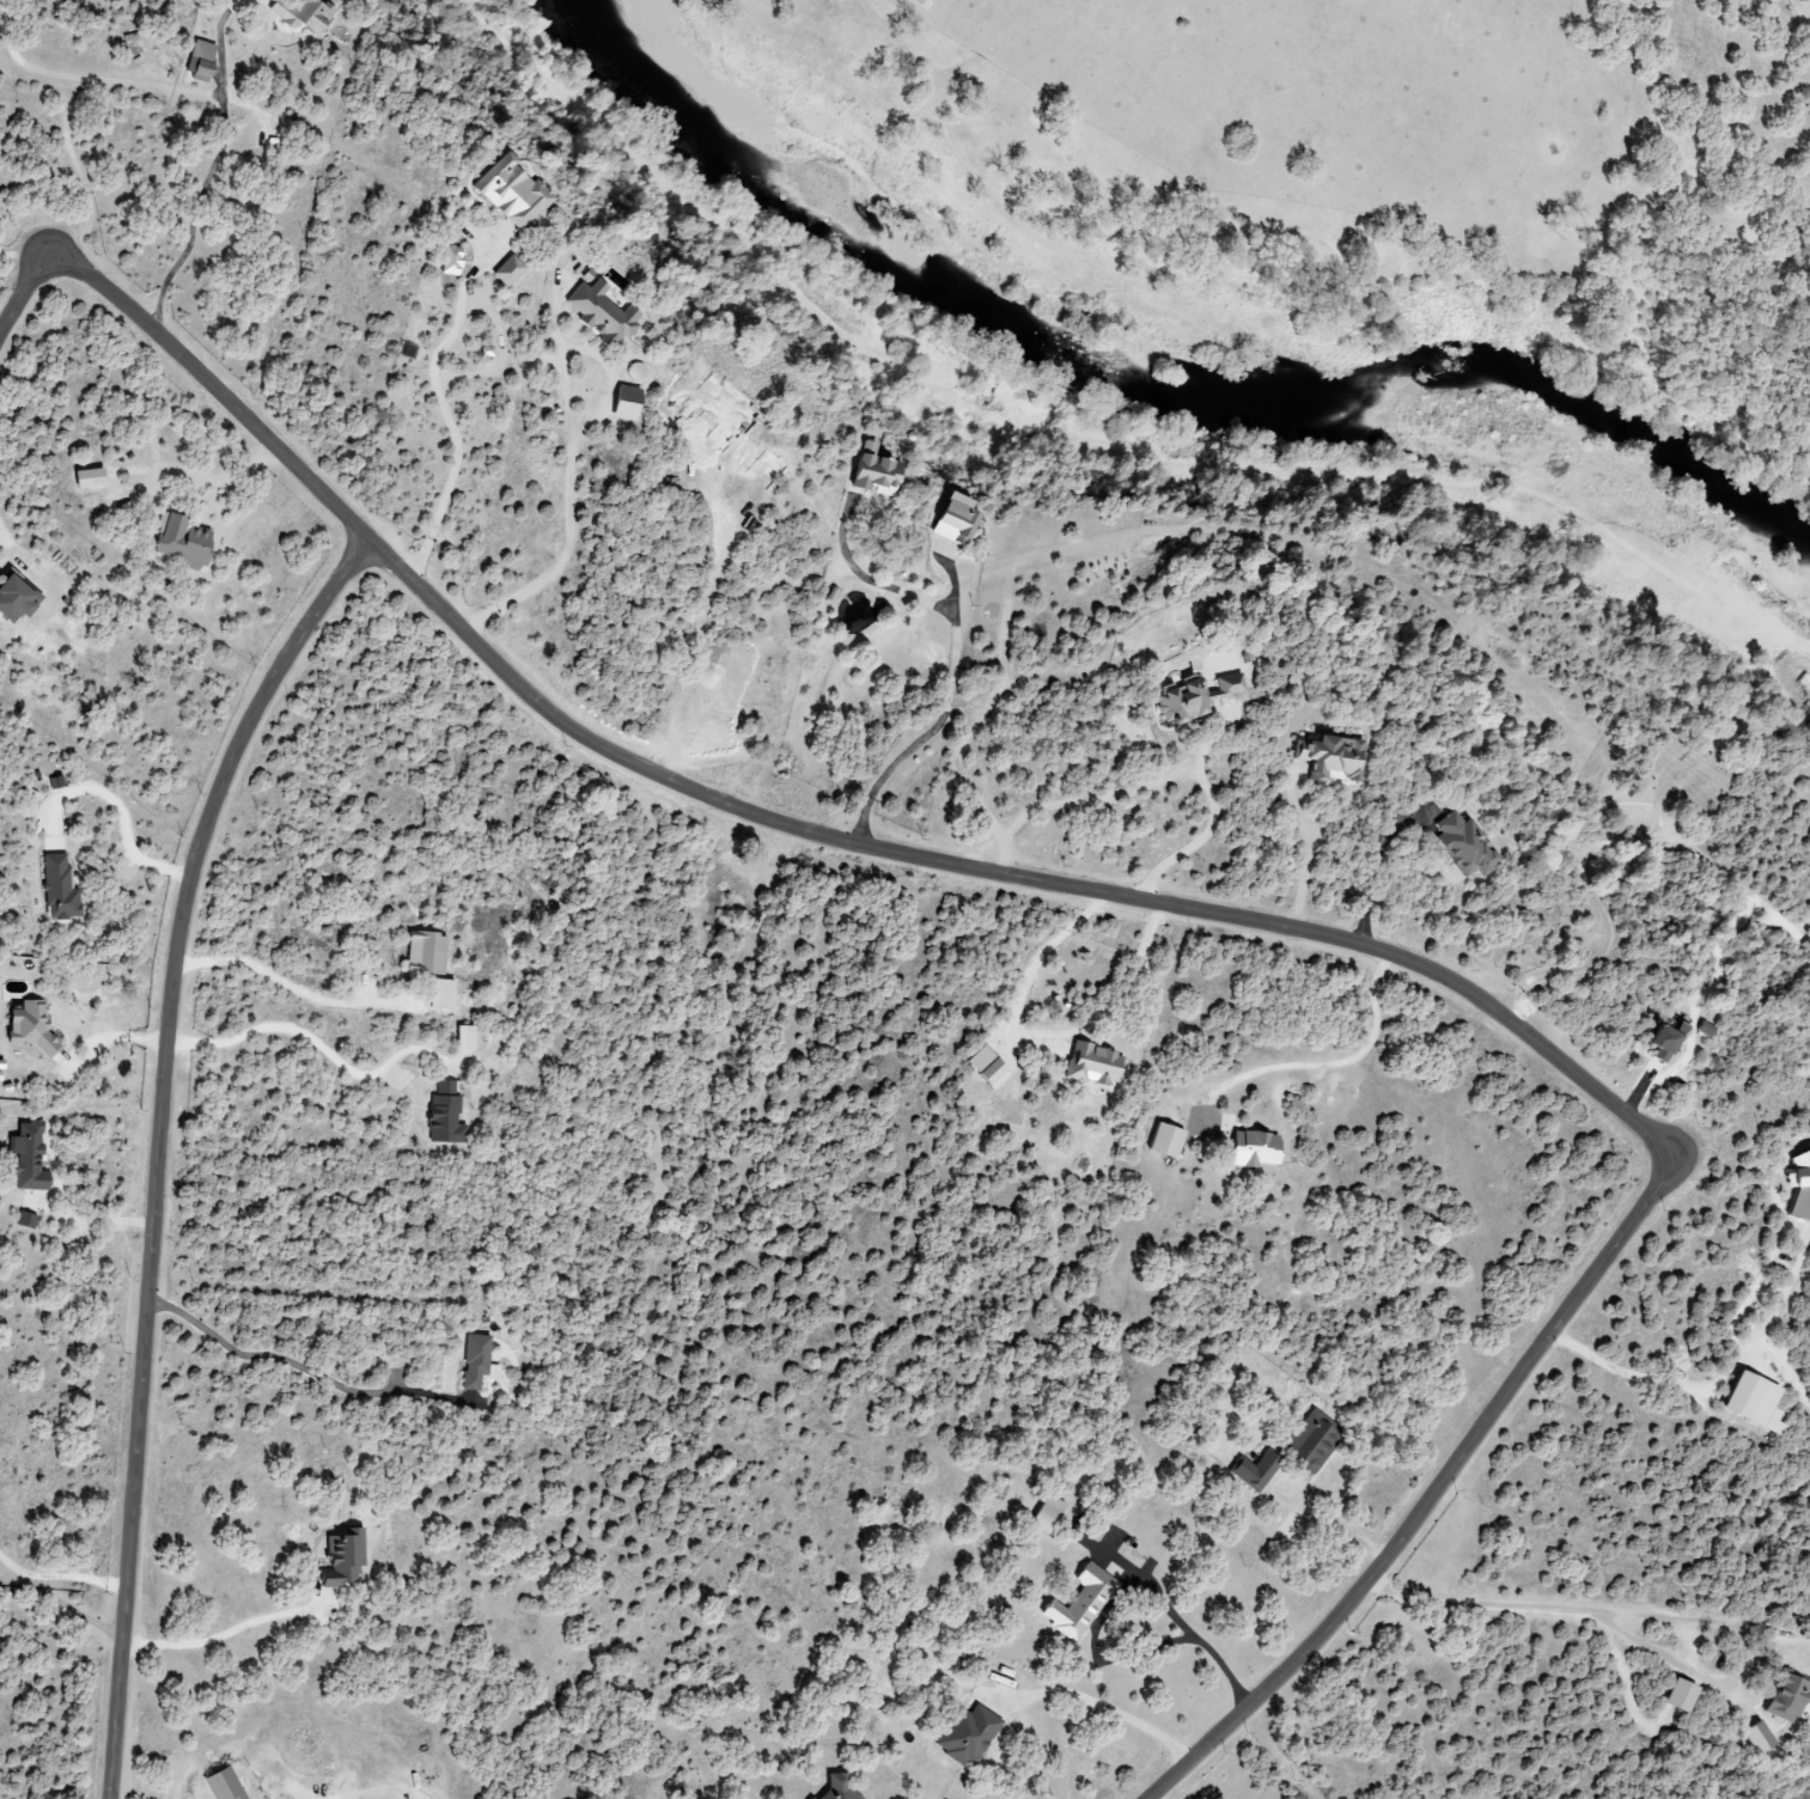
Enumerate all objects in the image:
building: (300, 13)
building: (197, 61)
building: (507, 193)
road: (196, 209)
building: (449, 260)
building: (505, 270)
building: (599, 315)
river: (1153, 386)
building: (623, 402)
road: (449, 409)
road: (573, 441)
building: (871, 471)
building: (84, 478)
building: (950, 519)
building: (177, 542)
building: (12, 597)
building: (1194, 695)
road: (943, 716)
road: (1201, 755)
building: (1330, 758)
road: (1148, 787)
road: (120, 809)
building: (1462, 844)
road: (1308, 859)
road: (1371, 870)
building: (57, 889)
road: (1154, 904)
building: (422, 953)
road: (297, 984)
building: (26, 1027)
road: (110, 1033)
road: (317, 1036)
building: (463, 1038)
building: (1662, 1042)
road: (1328, 1060)
building: (1090, 1066)
building: (985, 1068)
building: (0, 1069)
building: (444, 1115)
building: (1162, 1141)
road: (159, 1144)
building: (1249, 1149)
building: (25, 1159)
building: (1799, 1185)
building: (24, 1221)
road: (1767, 1330)
road: (270, 1354)
building: (476, 1362)
road: (1626, 1364)
building: (1750, 1403)
building: (1308, 1443)
building: (1253, 1470)
building: (1044, 1513)
road: (1342, 1518)
building: (340, 1560)
road: (16, 1584)
building: (1077, 1603)
road: (59, 1604)
road: (1572, 1605)
road: (223, 1634)
road: (1207, 1640)
building: (1675, 1695)
building: (1784, 1697)
road: (1105, 1701)
building: (964, 1734)
building: (1756, 1737)
building: (220, 1785)
building: (836, 1788)
building: (809, 1798)

